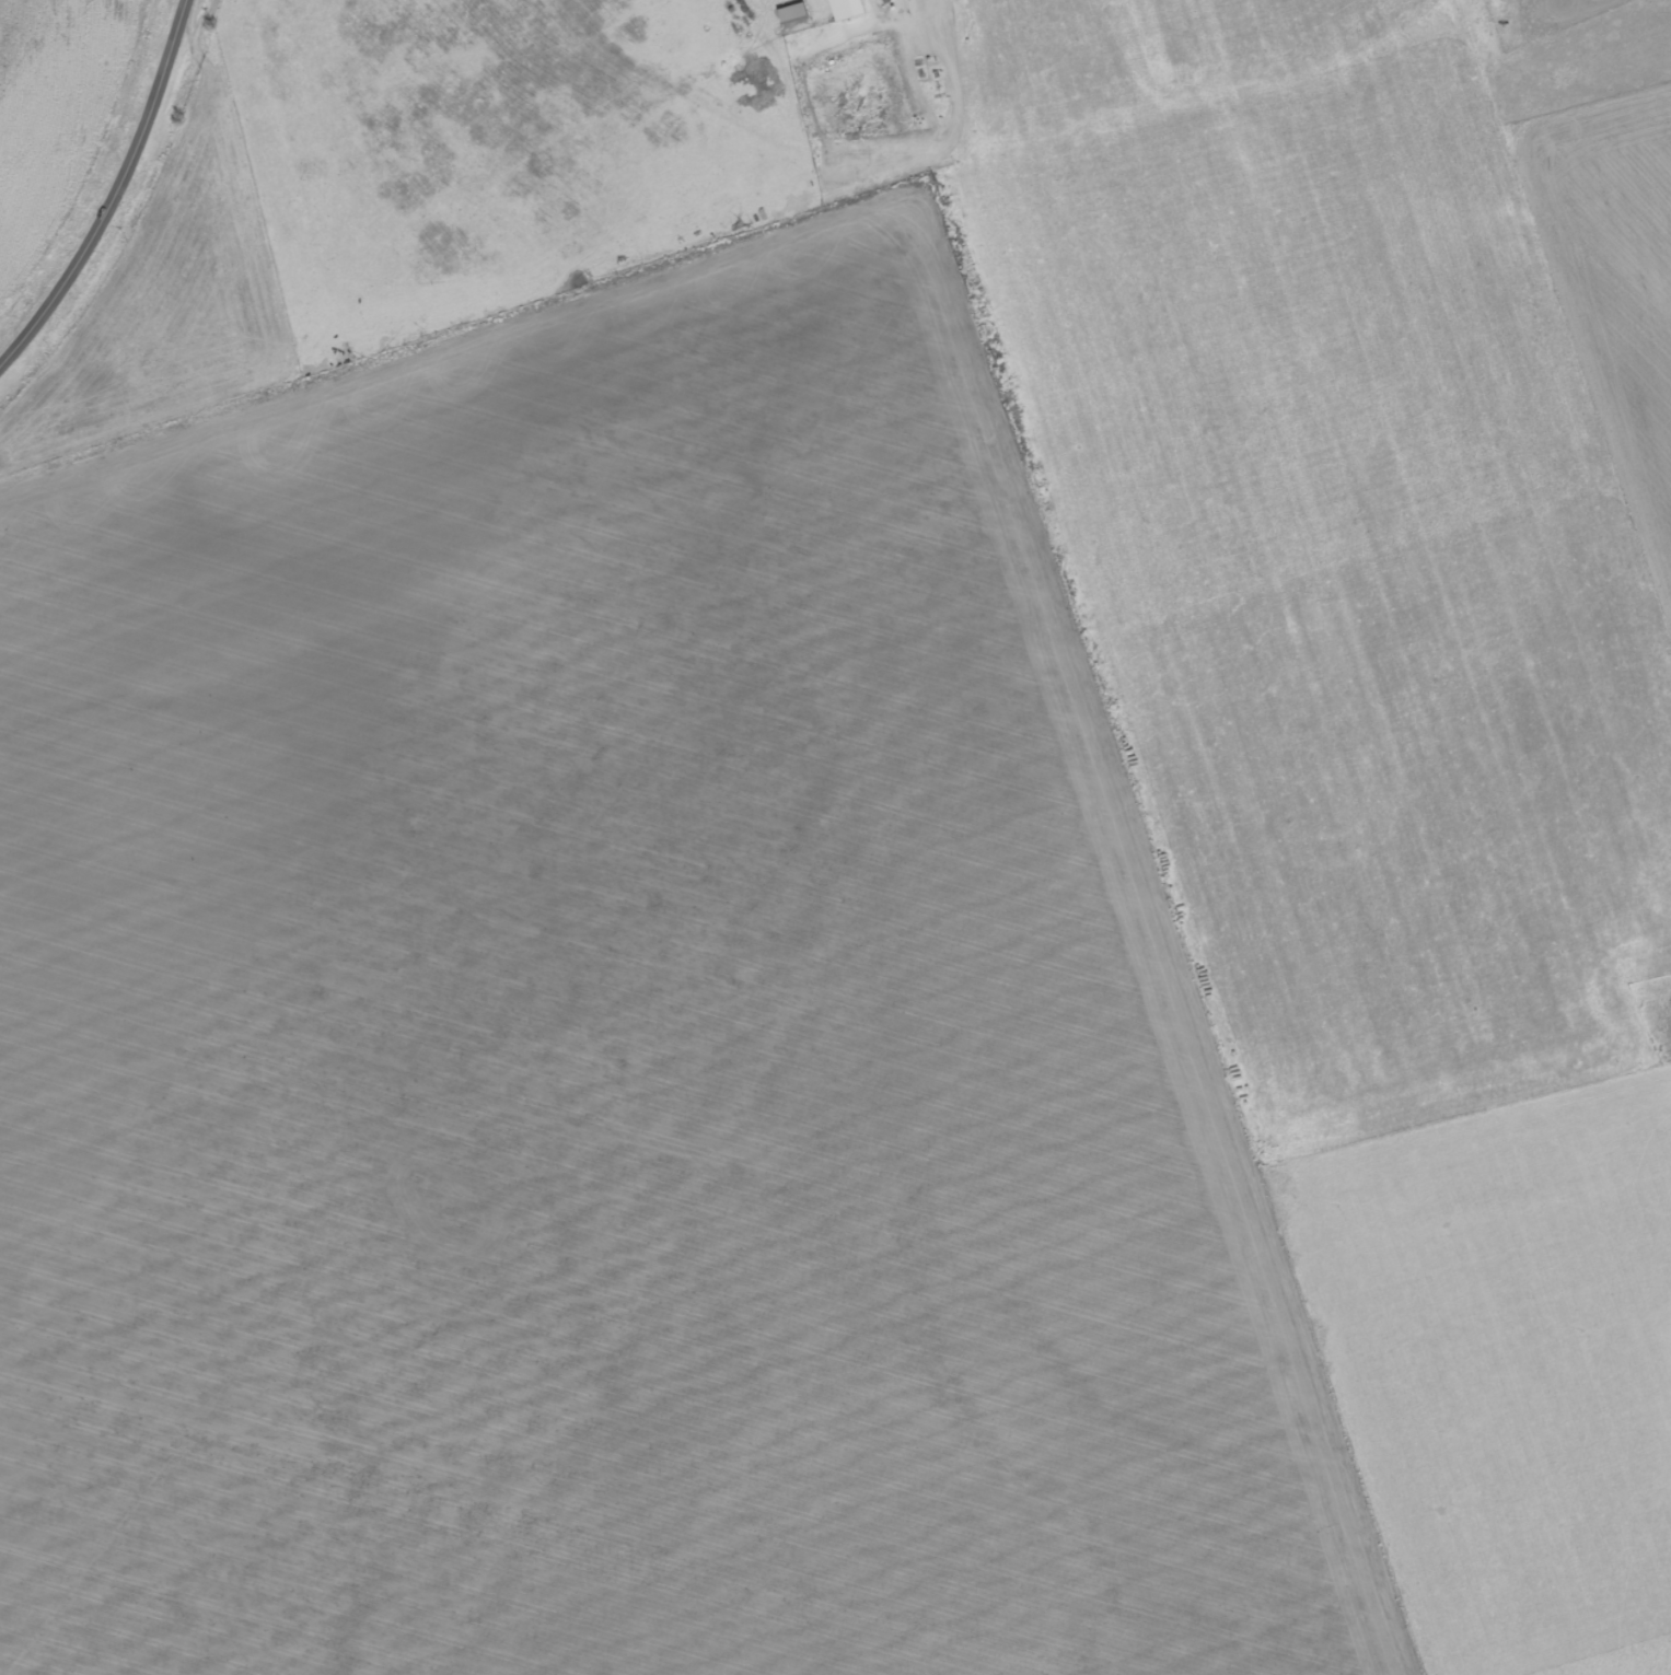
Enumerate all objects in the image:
building: (854, 8)
road: (114, 191)

